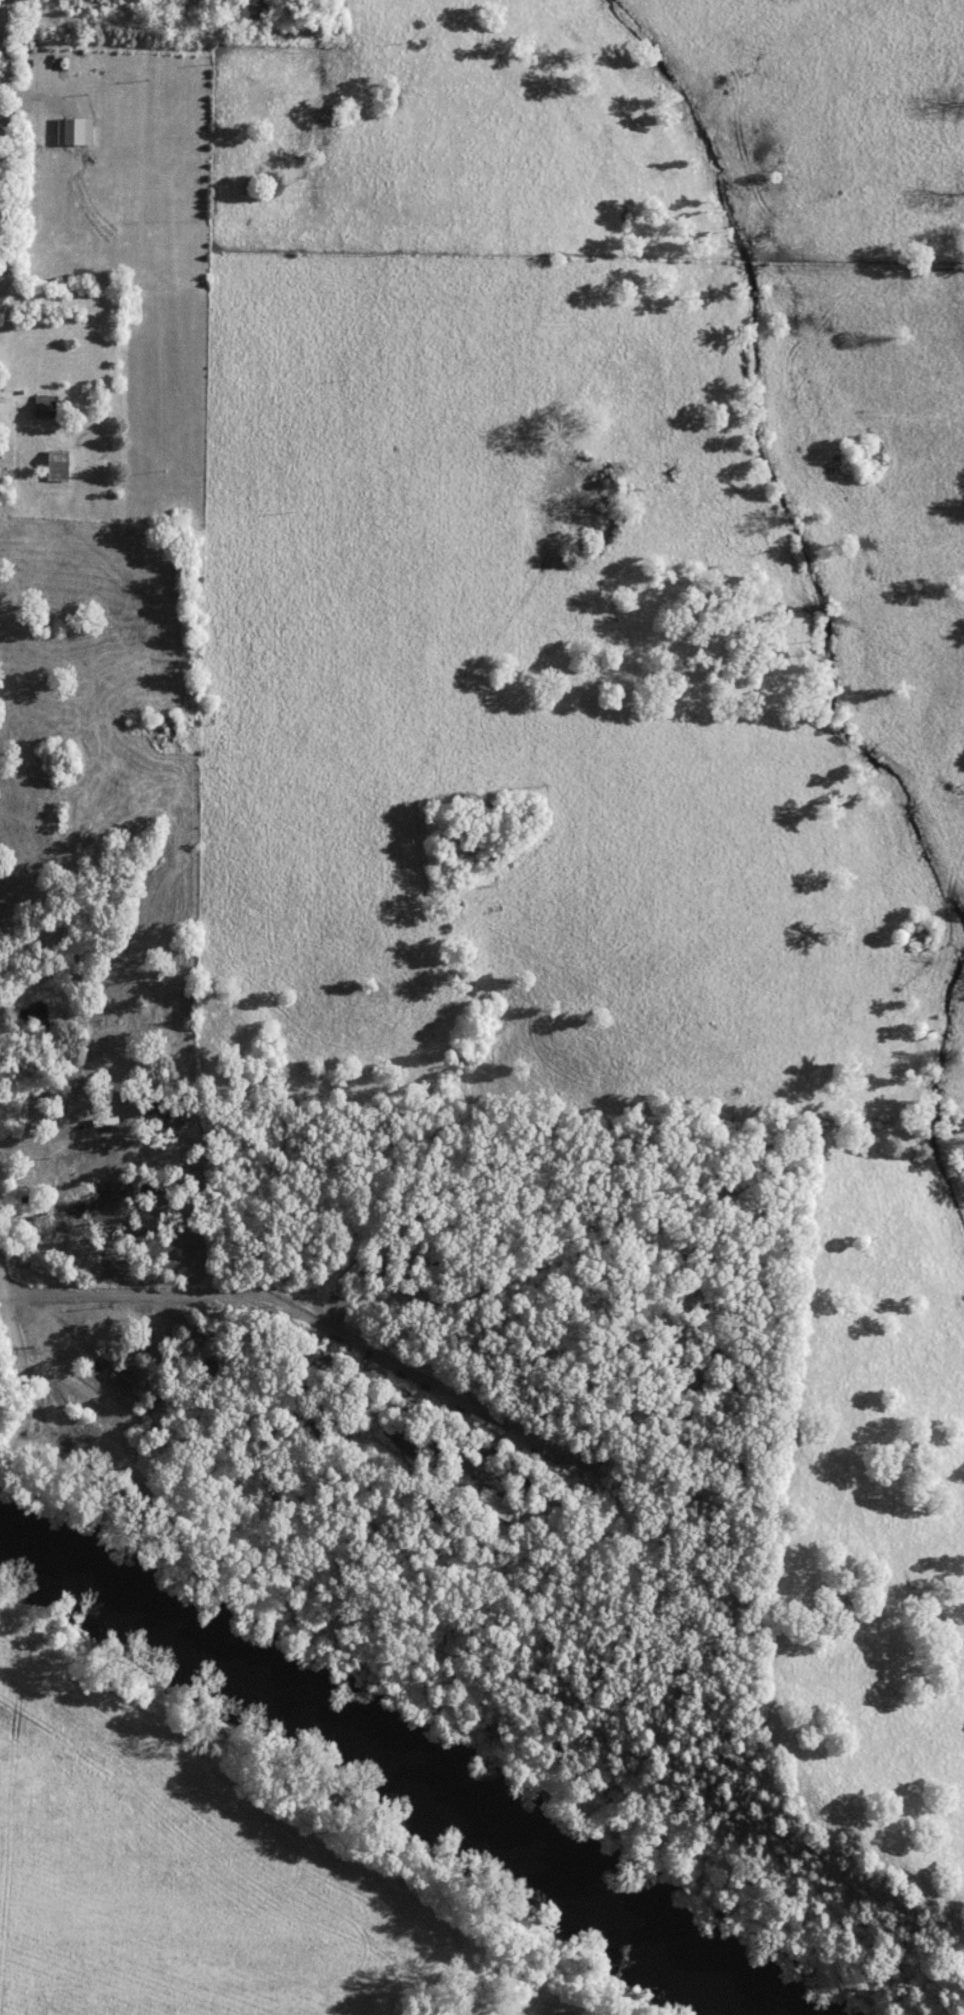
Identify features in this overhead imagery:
road: (2, 6)
building: (246, 10)
road: (131, 19)
building: (41, 408)
building: (52, 468)
road: (787, 780)
building: (89, 1131)
building: (349, 1271)
road: (298, 1300)
building: (312, 1363)
road: (13, 1365)
building: (112, 1381)
building: (395, 1442)
building: (490, 1505)

